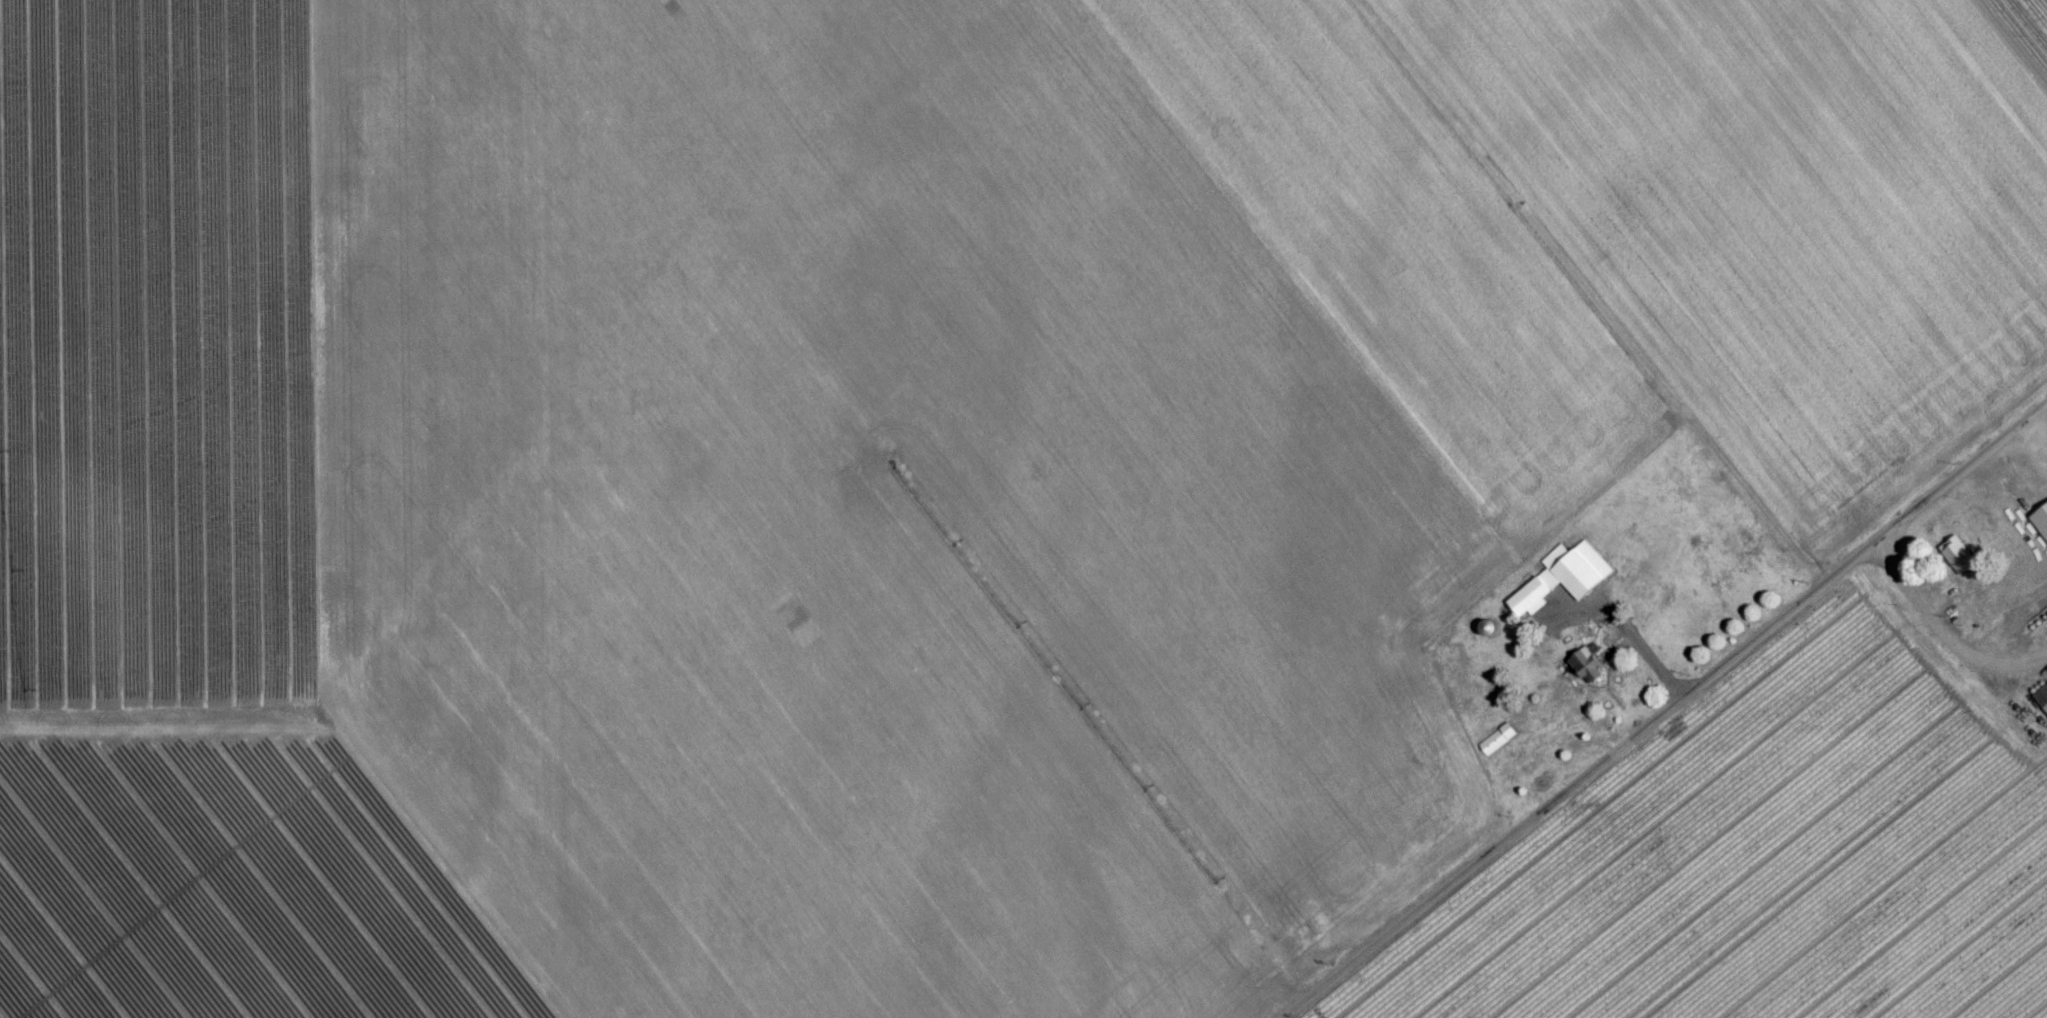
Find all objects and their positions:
building: (2041, 528)
building: (1959, 563)
building: (1564, 585)
building: (1490, 635)
road: (1636, 639)
building: (1588, 673)
building: (2042, 704)
road: (1664, 709)
building: (1498, 746)

